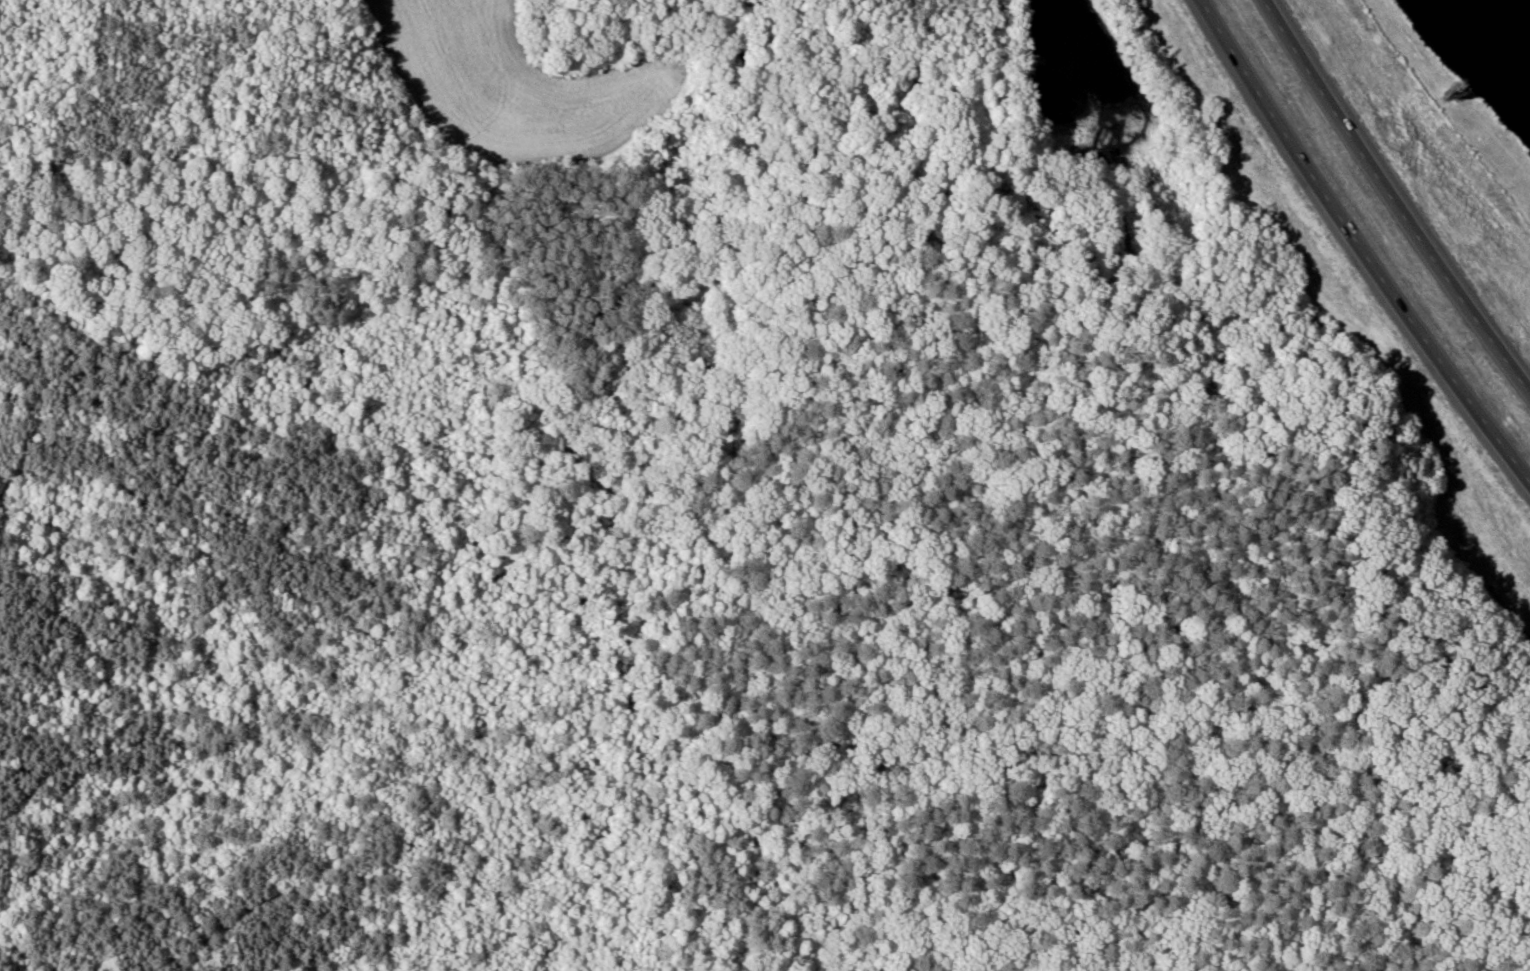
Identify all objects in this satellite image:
road: (1392, 190)
road: (1358, 238)

